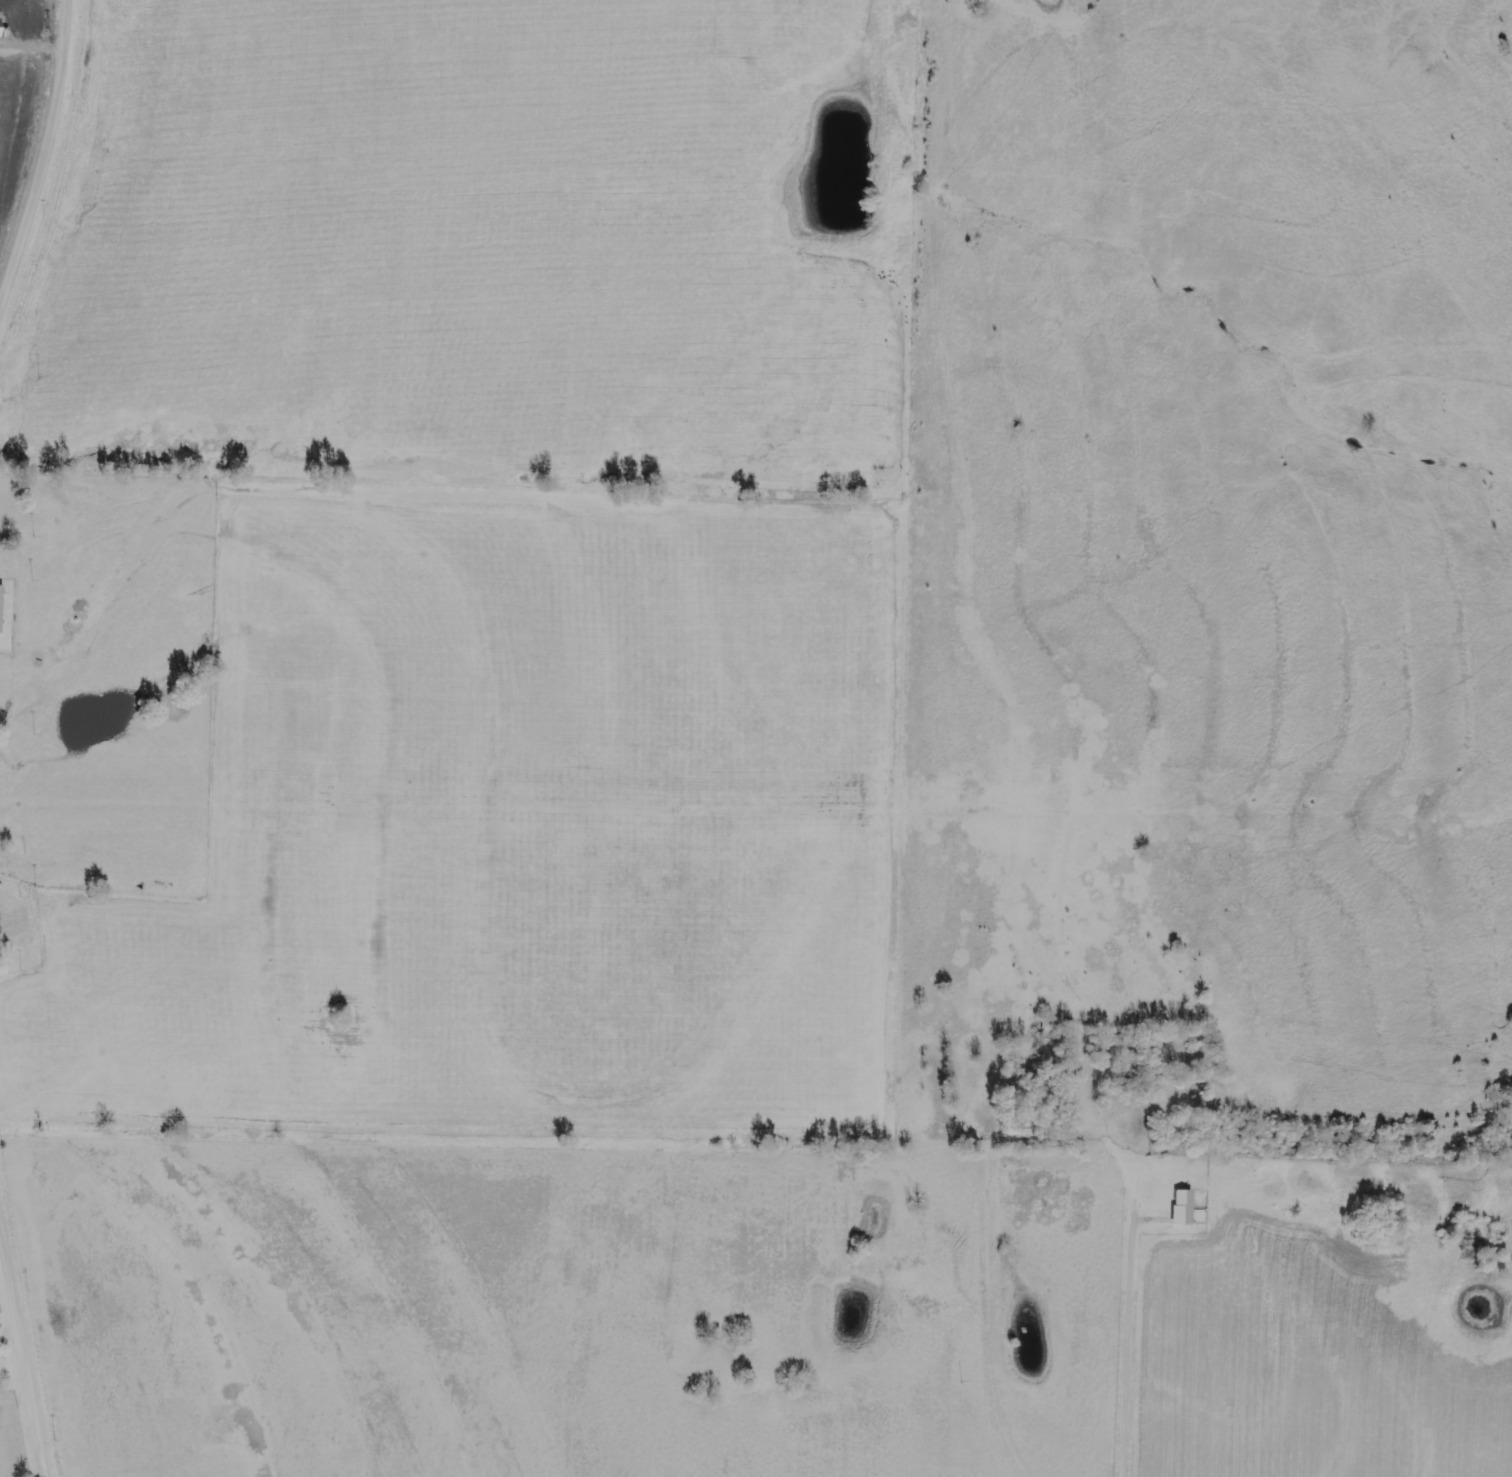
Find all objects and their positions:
road: (29, 146)
building: (1, 606)
building: (1182, 1206)
road: (1136, 1335)
road: (16, 1427)

